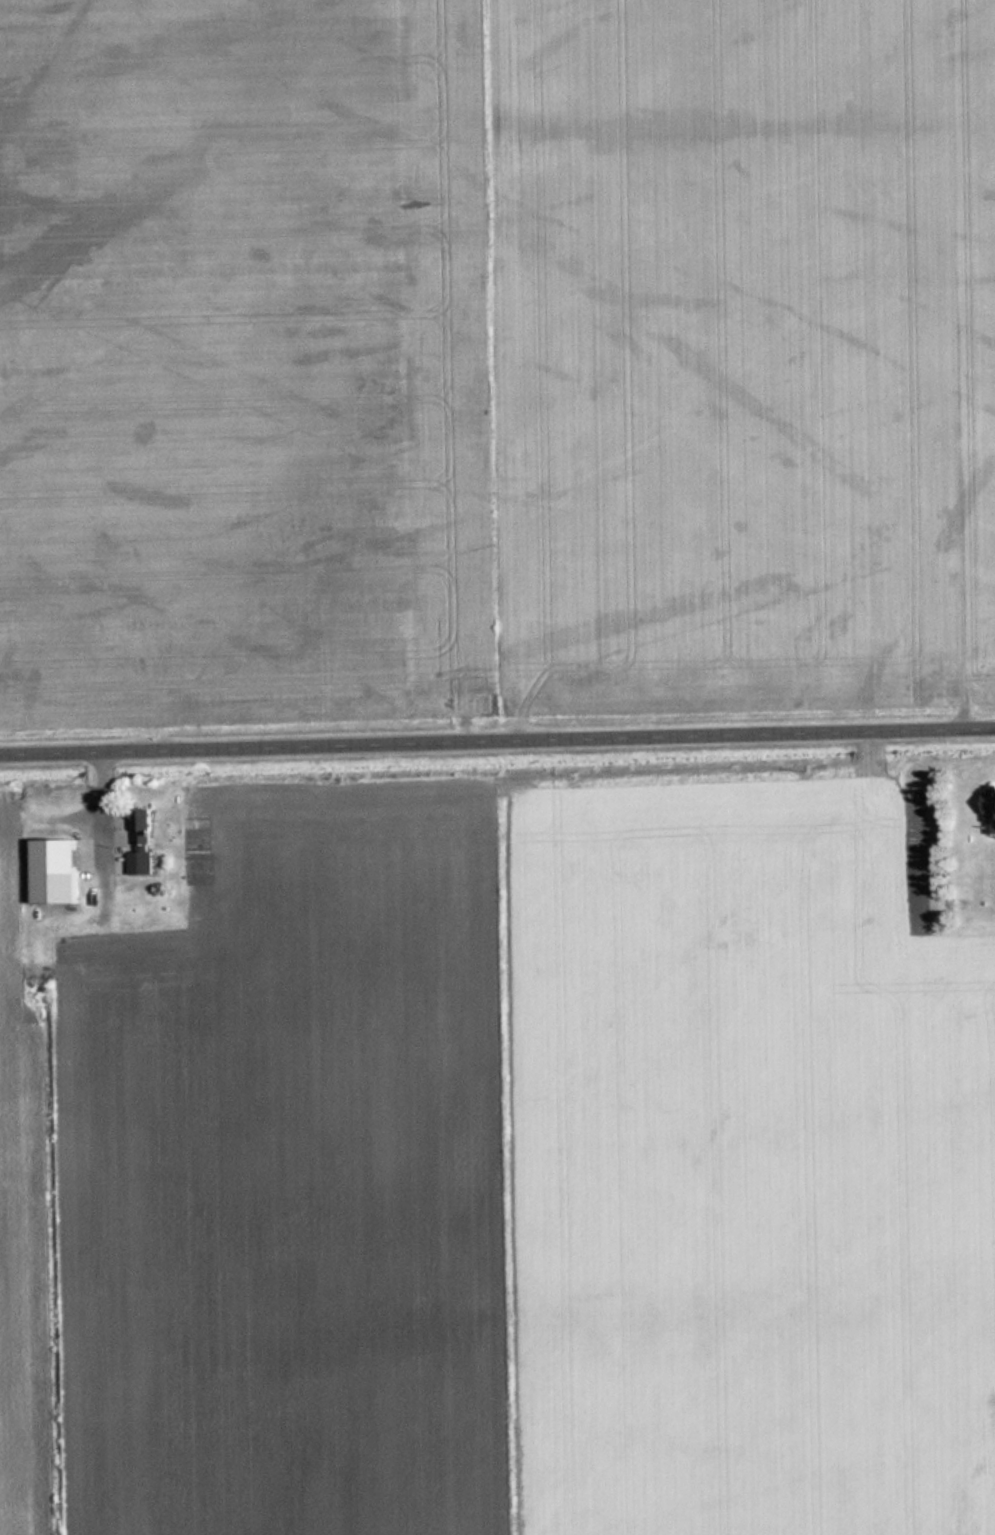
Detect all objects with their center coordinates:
road: (497, 734)
building: (990, 807)
building: (142, 843)
building: (56, 871)

